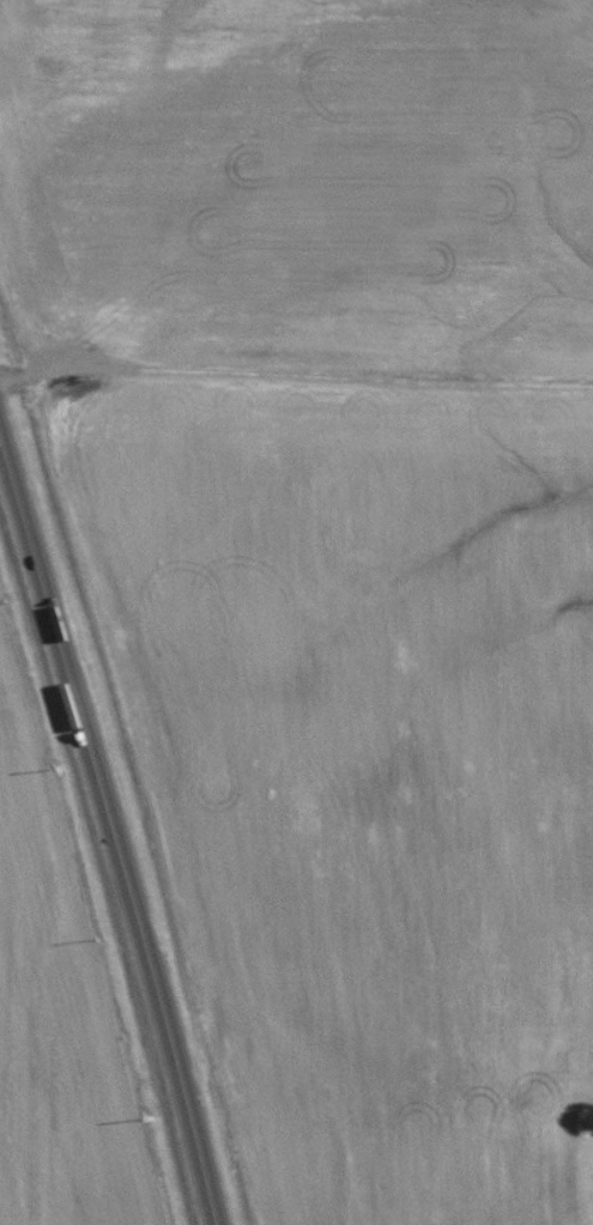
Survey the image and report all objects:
road: (114, 819)
park: (547, 1130)
road: (208, 1174)

